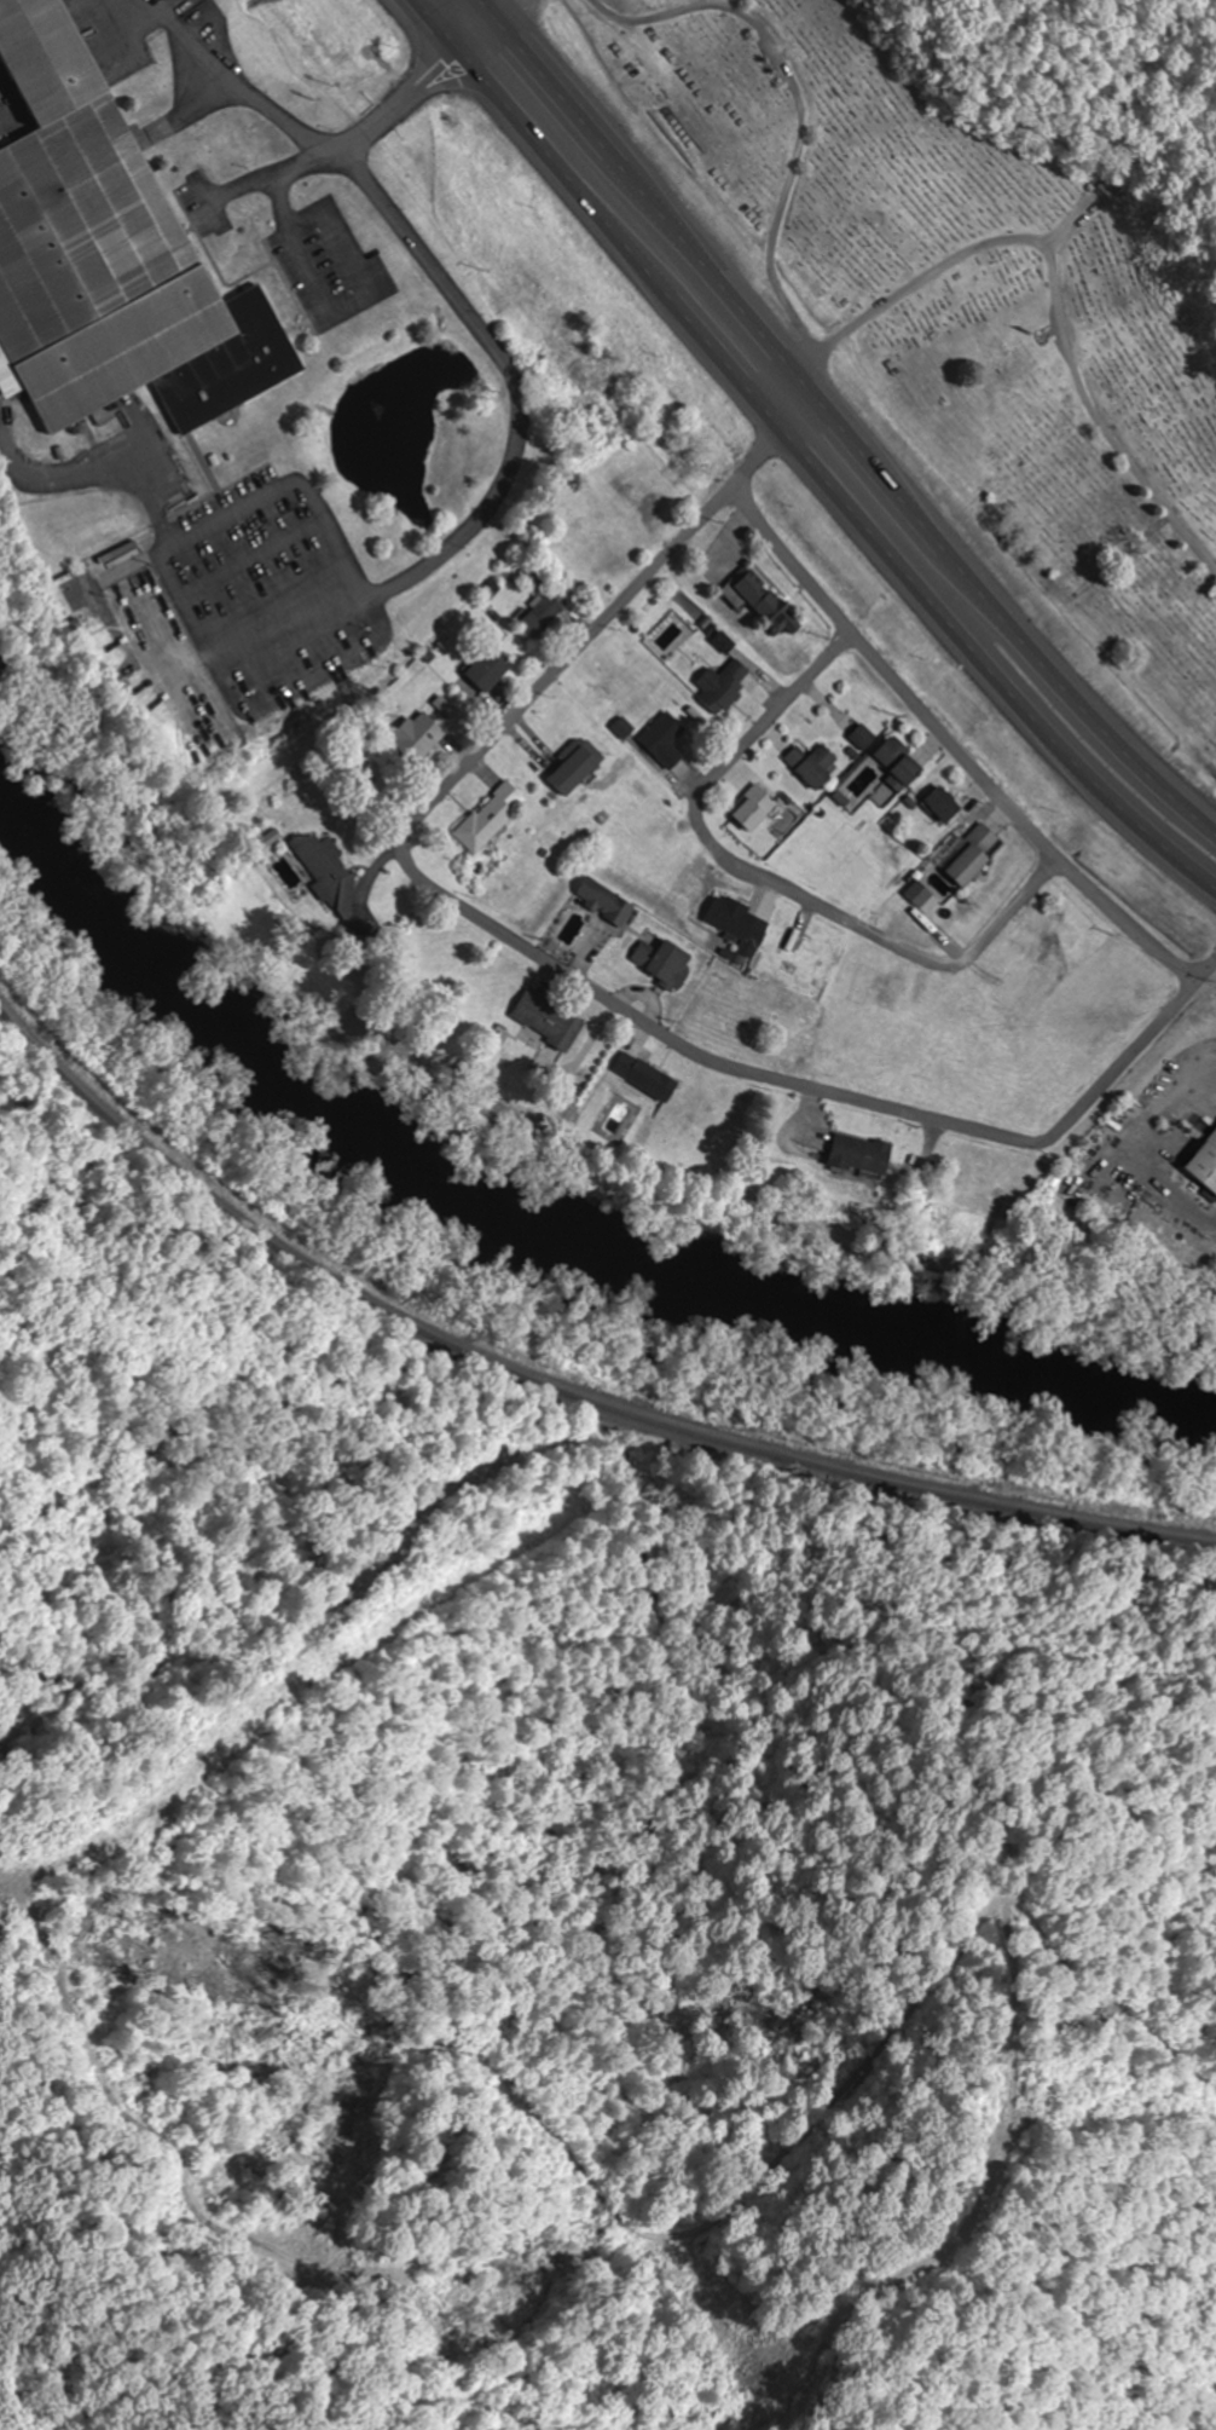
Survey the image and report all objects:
road: (488, 6)
road: (432, 24)
road: (375, 117)
building: (106, 255)
road: (1055, 281)
park: (955, 304)
road: (845, 429)
road: (821, 483)
building: (770, 604)
building: (545, 614)
building: (491, 670)
road: (892, 677)
building: (724, 688)
building: (421, 737)
building: (666, 740)
building: (902, 764)
building: (815, 766)
building: (578, 767)
building: (945, 806)
building: (755, 809)
building: (491, 819)
building: (974, 858)
building: (329, 878)
road: (765, 884)
building: (920, 895)
building: (606, 902)
building: (733, 918)
road: (1124, 922)
road: (523, 951)
building: (665, 963)
road: (1208, 965)
building: (548, 1020)
building: (631, 1067)
building: (861, 1155)
building: (1205, 1165)
river: (539, 1220)
railway: (544, 1376)

